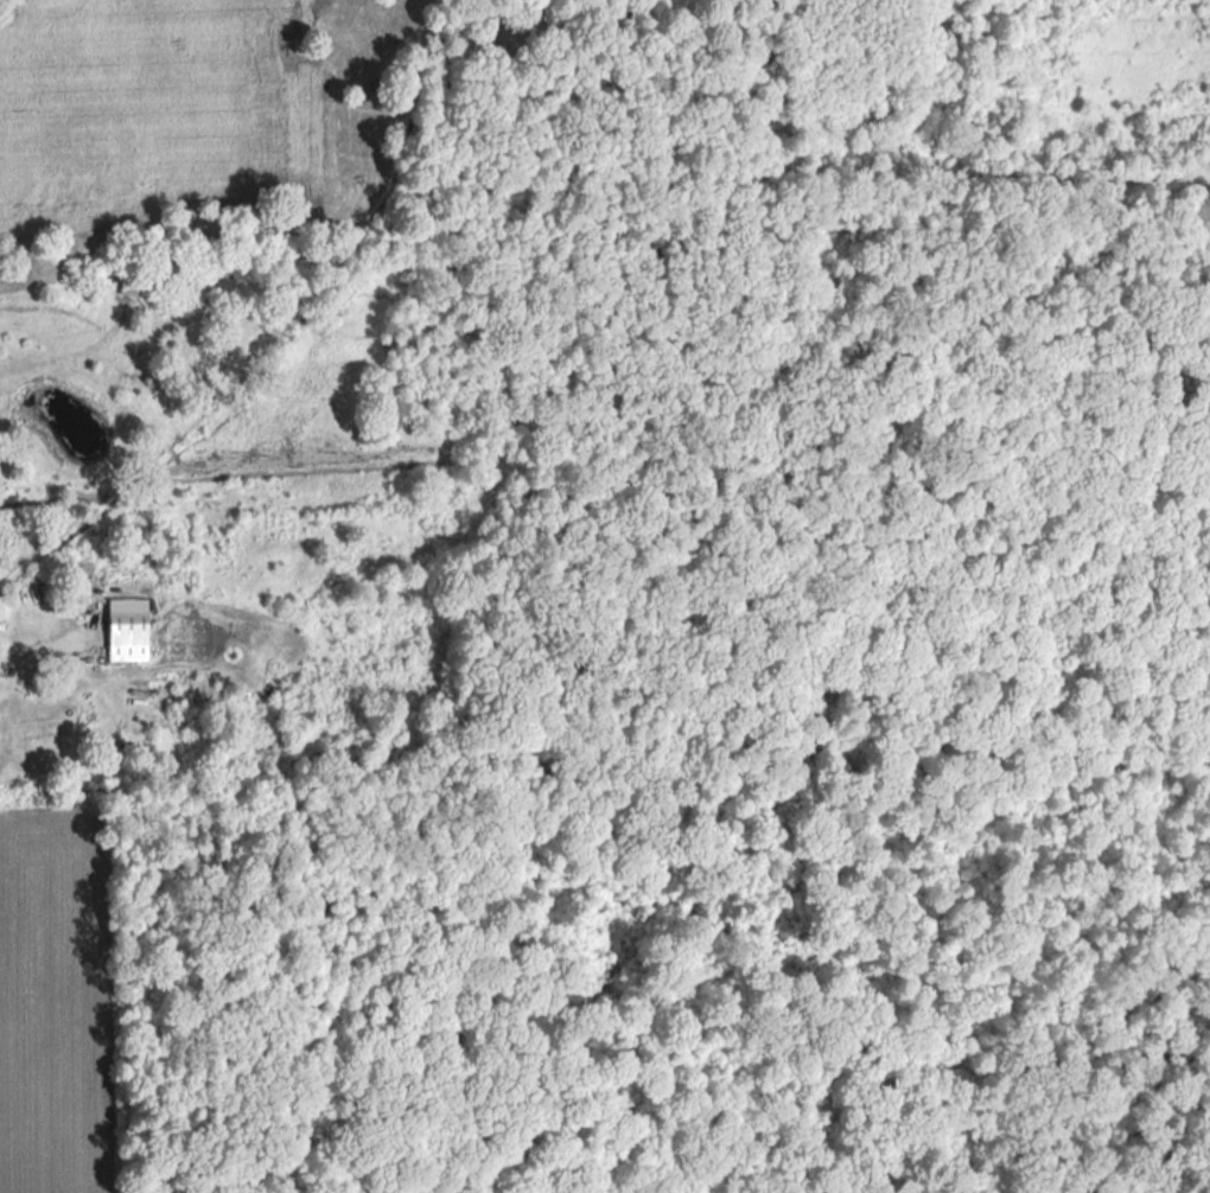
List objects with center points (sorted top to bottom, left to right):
crop: (152, 113)
building: (125, 638)
road: (15, 661)
crop: (55, 1006)

